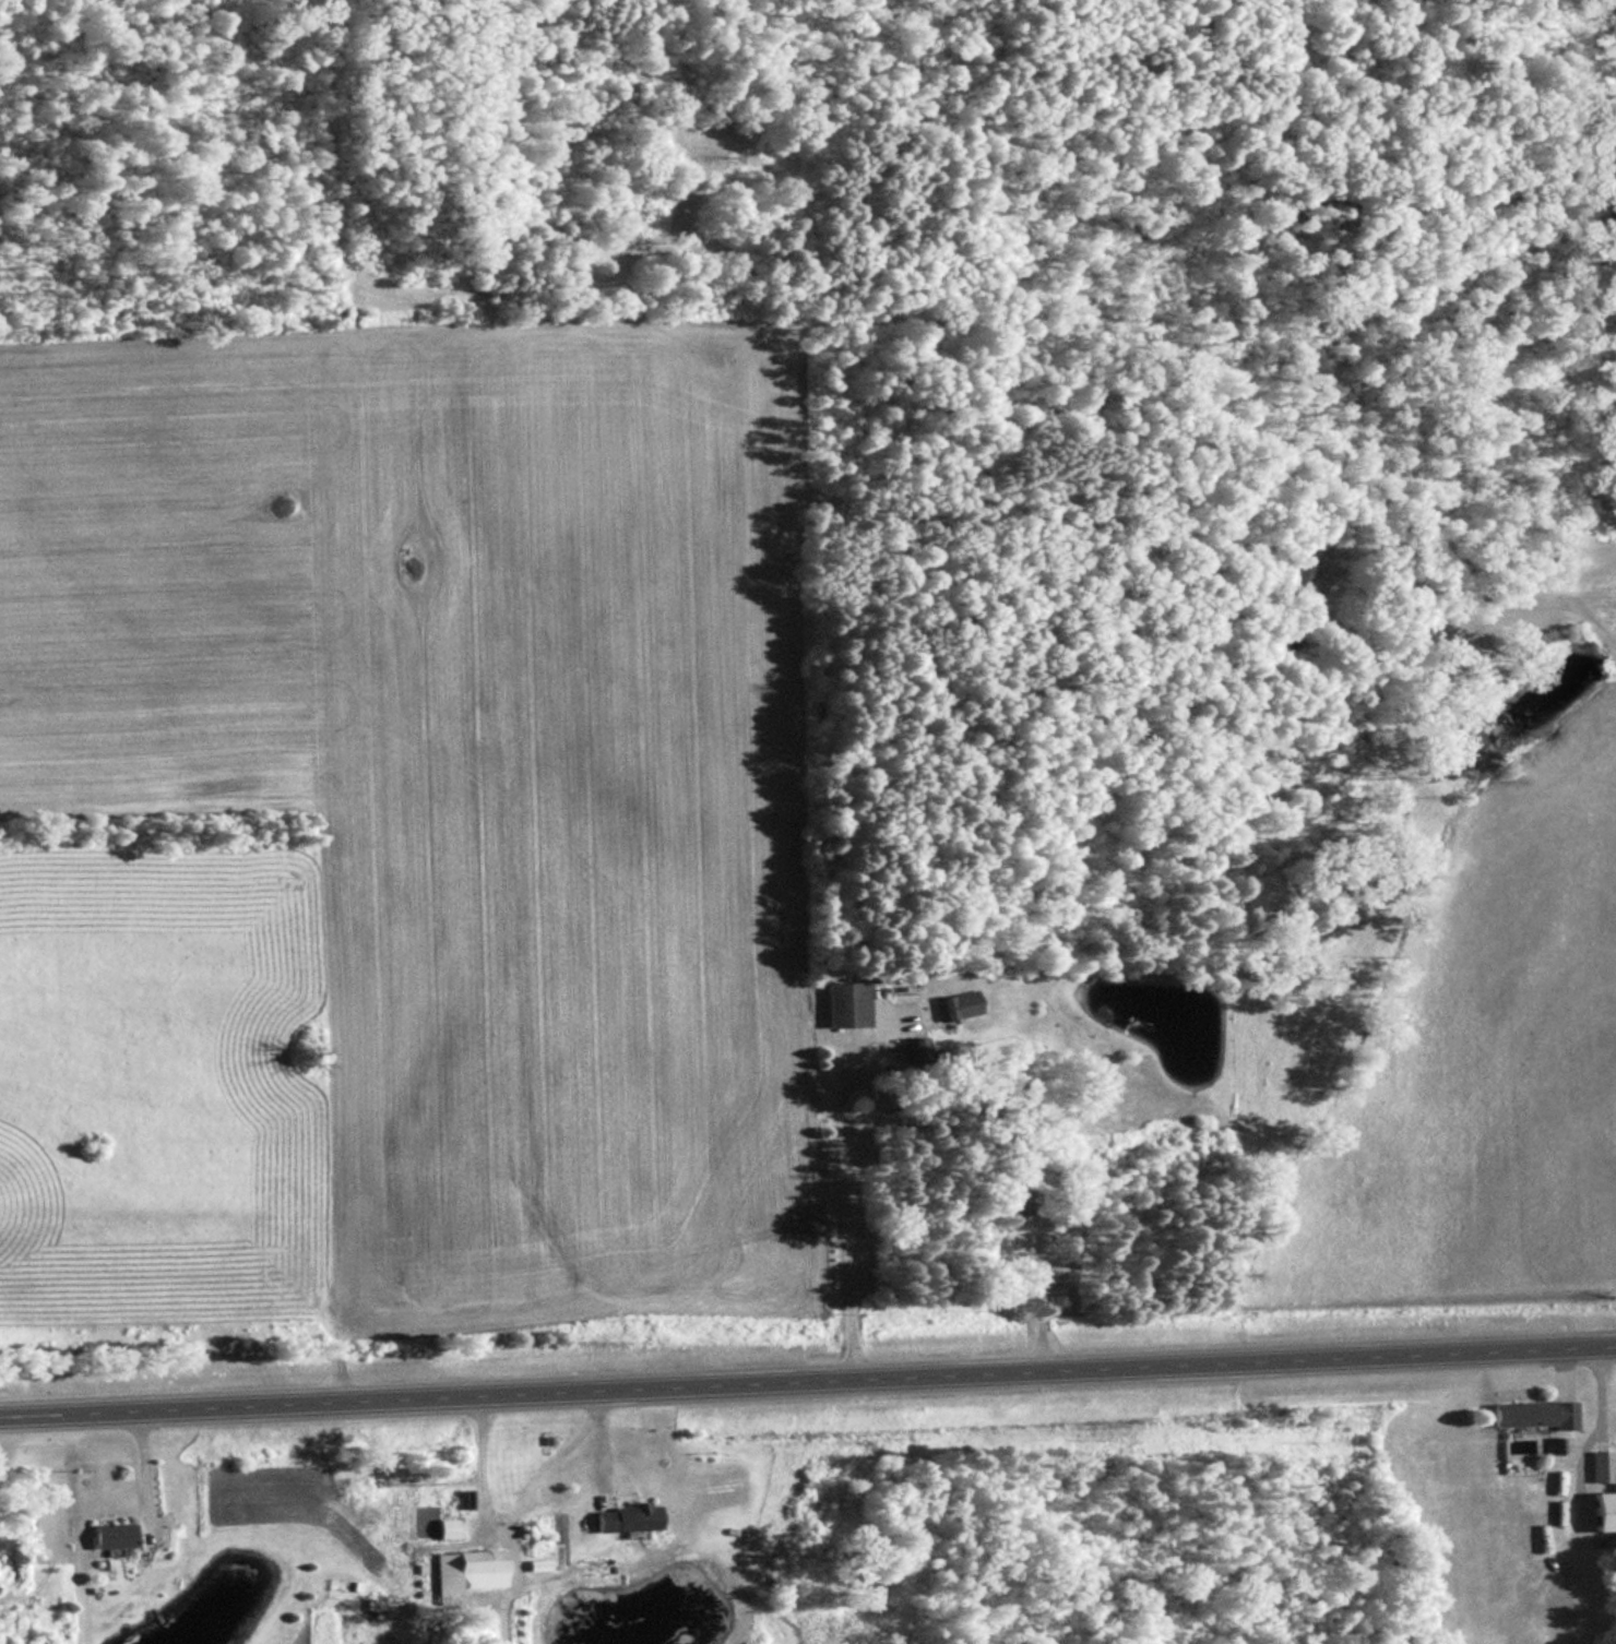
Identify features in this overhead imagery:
building: (845, 1004)
building: (954, 1005)
building: (1018, 1195)
road: (839, 1222)
road: (808, 1384)
building: (1531, 1414)
building: (1597, 1465)
road: (478, 1487)
building: (623, 1516)
building: (445, 1528)
building: (110, 1535)
building: (466, 1572)

